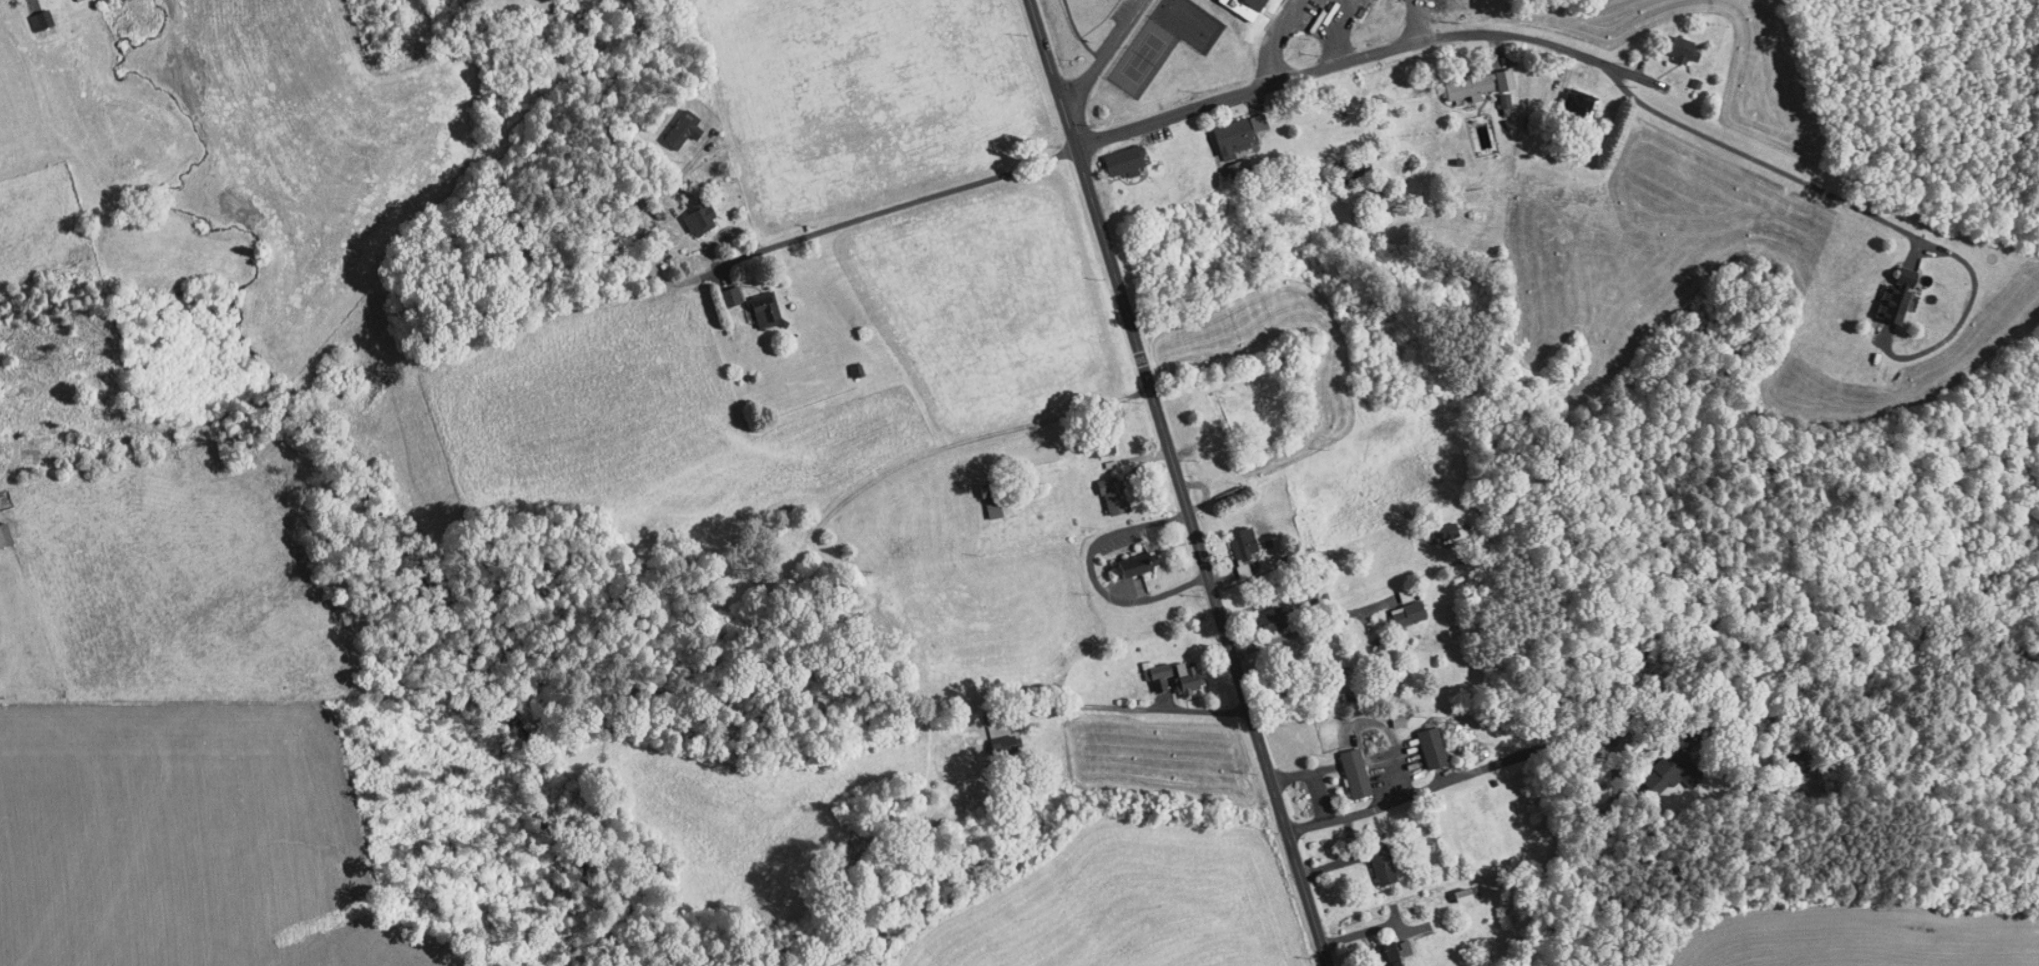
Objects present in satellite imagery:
building: (1240, 5)
building: (31, 13)
road: (1416, 20)
park: (1080, 29)
road: (1337, 31)
road: (1080, 33)
road: (1277, 39)
building: (1667, 43)
road: (1372, 54)
road: (1106, 56)
building: (1496, 73)
building: (1460, 79)
building: (1495, 93)
building: (1569, 97)
building: (674, 122)
building: (1229, 127)
building: (1116, 154)
building: (690, 210)
road: (757, 253)
building: (1880, 287)
building: (722, 289)
building: (756, 303)
road: (962, 418)
road: (1181, 482)
building: (1102, 487)
building: (981, 494)
building: (1436, 525)
building: (0, 537)
building: (1234, 541)
building: (1129, 556)
building: (1396, 587)
building: (1399, 605)
building: (1265, 608)
building: (1164, 669)
road: (1137, 705)
building: (996, 737)
building: (1423, 740)
building: (1662, 764)
building: (1346, 766)
road: (1457, 767)
building: (1374, 858)
building: (1457, 887)
building: (1382, 950)

